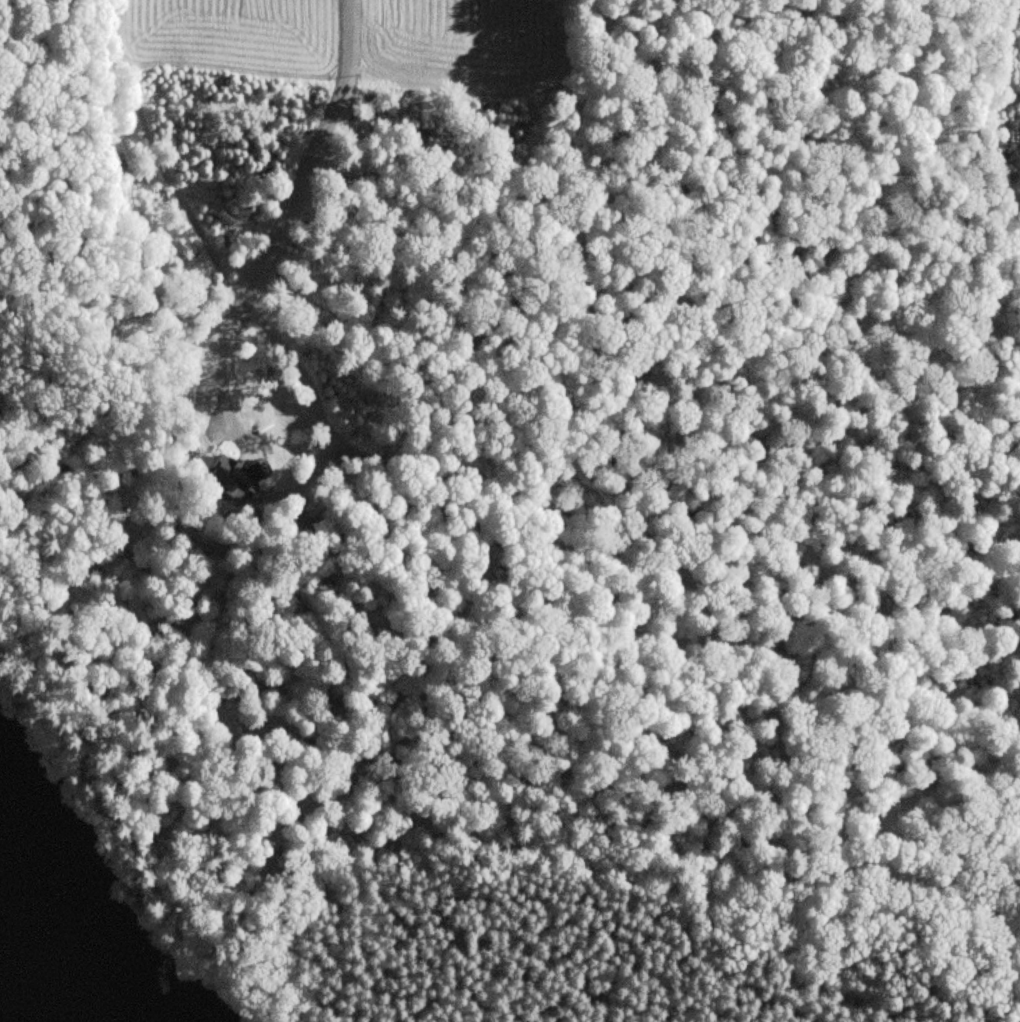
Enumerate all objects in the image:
river: (29, 976)

